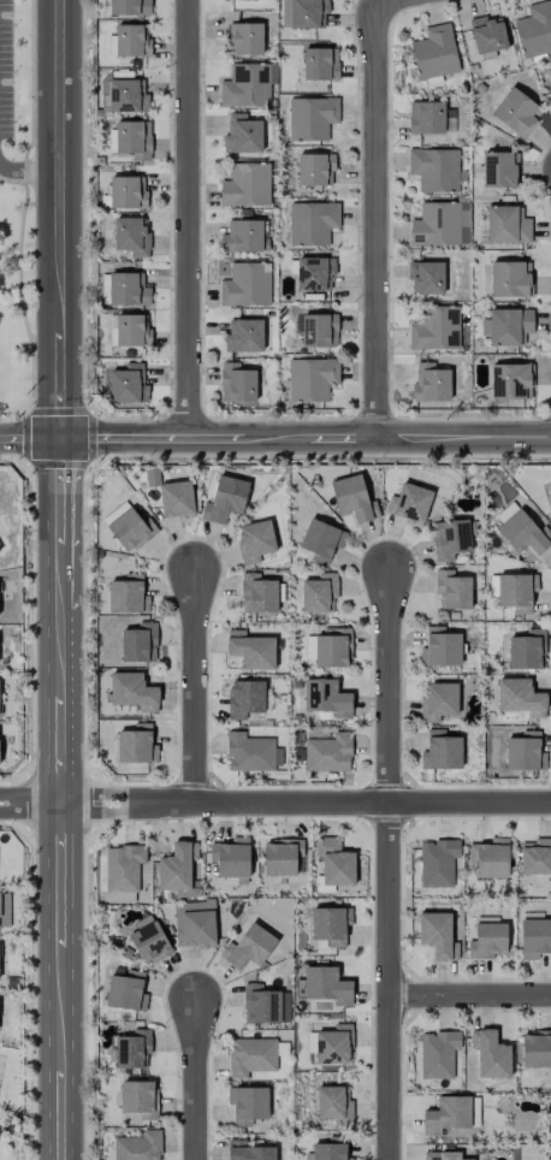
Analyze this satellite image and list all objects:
building: (129, 7)
building: (303, 13)
building: (534, 30)
building: (487, 34)
building: (244, 40)
building: (132, 41)
building: (434, 52)
building: (320, 64)
parking lot: (6, 70)
building: (245, 85)
road: (60, 88)
building: (124, 96)
building: (516, 112)
building: (426, 117)
building: (312, 118)
building: (242, 135)
building: (134, 140)
road: (30, 170)
building: (315, 170)
building: (434, 170)
building: (499, 170)
building: (245, 185)
building: (128, 193)
park: (14, 206)
road: (190, 219)
road: (379, 219)
building: (312, 223)
building: (440, 224)
building: (506, 225)
building: (131, 236)
building: (243, 237)
building: (314, 273)
building: (426, 278)
building: (510, 279)
building: (245, 285)
building: (128, 290)
building: (508, 326)
building: (132, 330)
building: (436, 330)
building: (318, 331)
building: (243, 336)
building: (310, 379)
building: (511, 381)
building: (237, 383)
building: (431, 383)
building: (128, 384)
road: (274, 439)
building: (351, 498)
building: (176, 499)
building: (225, 499)
building: (409, 503)
building: (505, 511)
building: (550, 511)
building: (114, 513)
building: (131, 529)
building: (523, 534)
building: (450, 539)
building: (254, 540)
building: (320, 540)
building: (452, 591)
building: (516, 591)
building: (319, 593)
building: (259, 594)
building: (128, 596)
building: (138, 644)
building: (332, 649)
building: (250, 650)
building: (527, 650)
road: (64, 668)
road: (199, 690)
building: (132, 691)
building: (244, 698)
building: (326, 698)
building: (520, 698)
building: (438, 700)
building: (136, 745)
building: (442, 751)
building: (251, 752)
building: (328, 753)
building: (523, 754)
road: (32, 805)
road: (308, 806)
building: (282, 857)
building: (535, 857)
building: (231, 858)
building: (490, 858)
building: (334, 863)
building: (438, 863)
road: (391, 864)
building: (123, 868)
building: (178, 869)
building: (4, 910)
building: (192, 925)
building: (331, 925)
building: (438, 935)
building: (534, 937)
building: (488, 941)
building: (148, 942)
building: (248, 947)
building: (326, 986)
building: (126, 992)
road: (472, 999)
building: (333, 1046)
building: (132, 1049)
building: (535, 1049)
building: (438, 1054)
building: (490, 1054)
building: (251, 1057)
road: (197, 1082)
building: (140, 1099)
building: (248, 1105)
building: (334, 1105)
building: (446, 1114)
building: (137, 1147)
building: (248, 1152)
building: (328, 1152)
building: (443, 1155)

